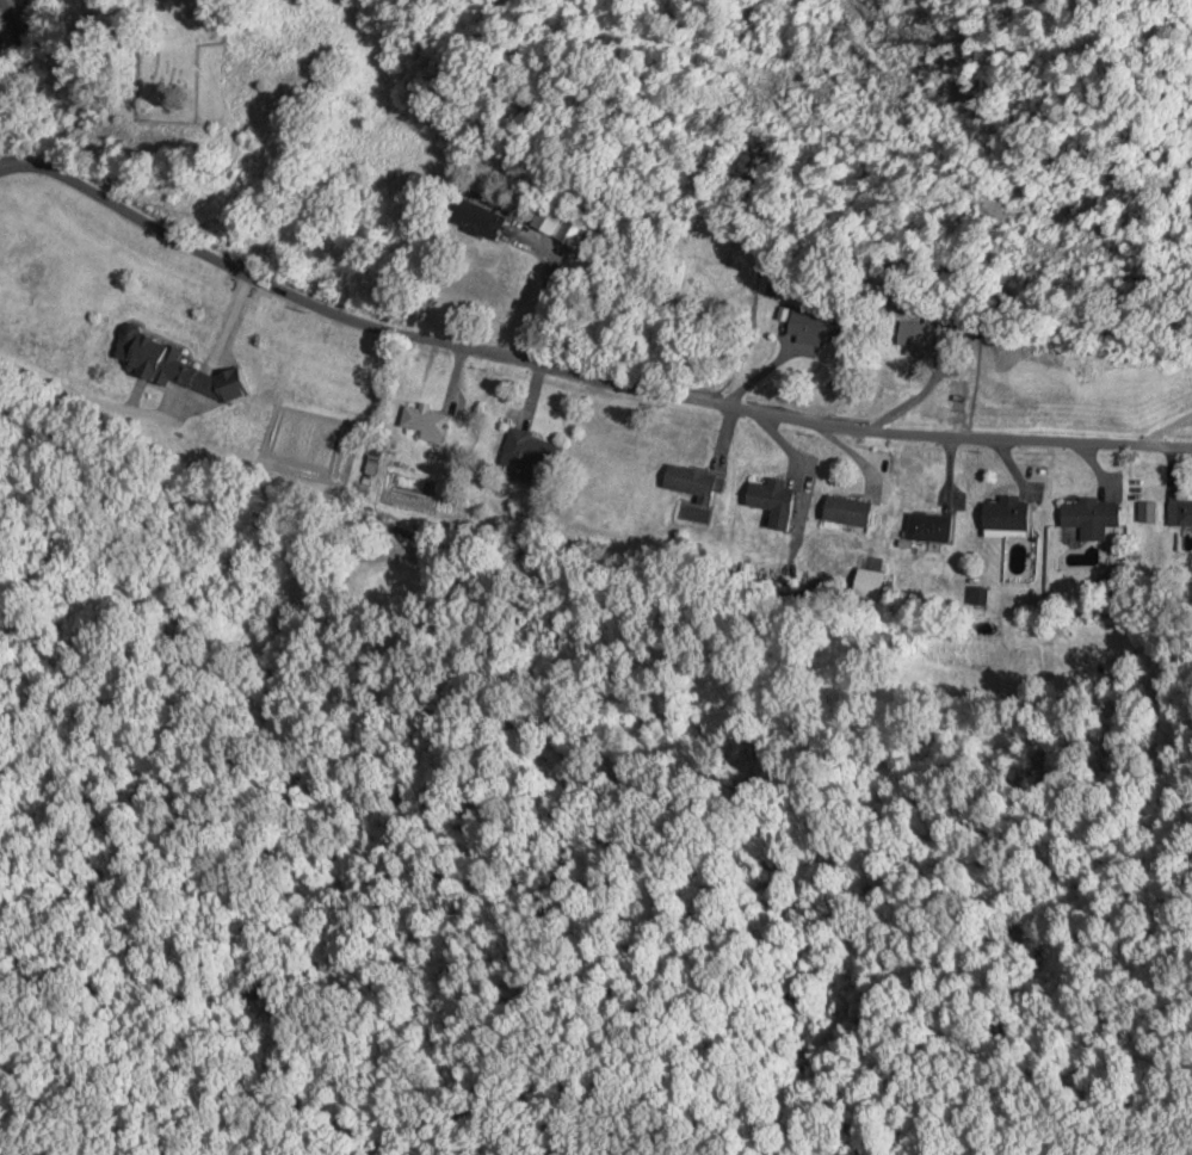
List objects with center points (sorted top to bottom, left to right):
building: (473, 218)
building: (569, 235)
building: (814, 327)
building: (173, 366)
road: (576, 373)
building: (422, 421)
building: (527, 457)
building: (692, 484)
building: (770, 501)
building: (845, 511)
building: (1180, 512)
building: (1005, 515)
building: (1088, 517)
building: (926, 527)

